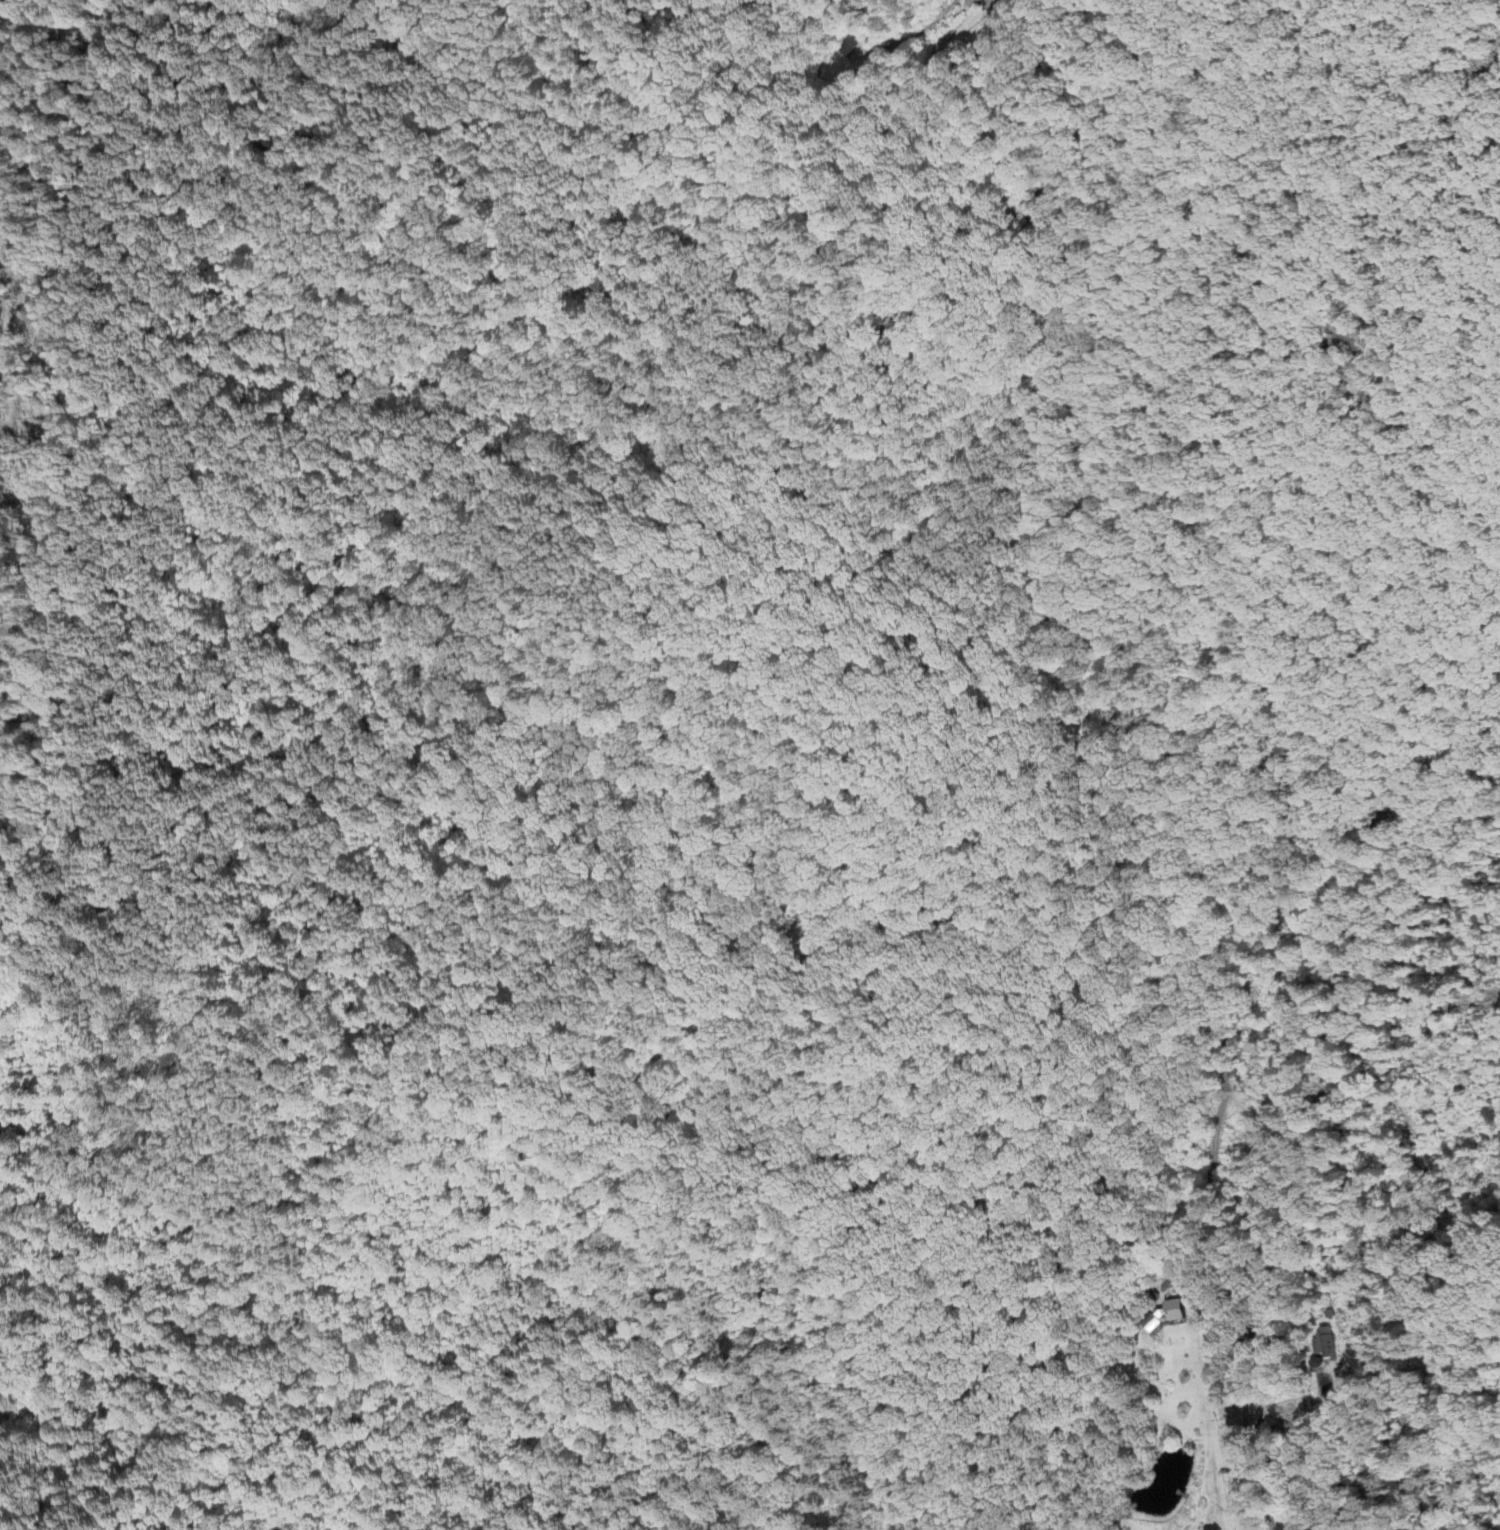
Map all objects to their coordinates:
road: (1218, 751)
building: (1175, 1310)
building: (1324, 1342)
road: (1334, 1453)

